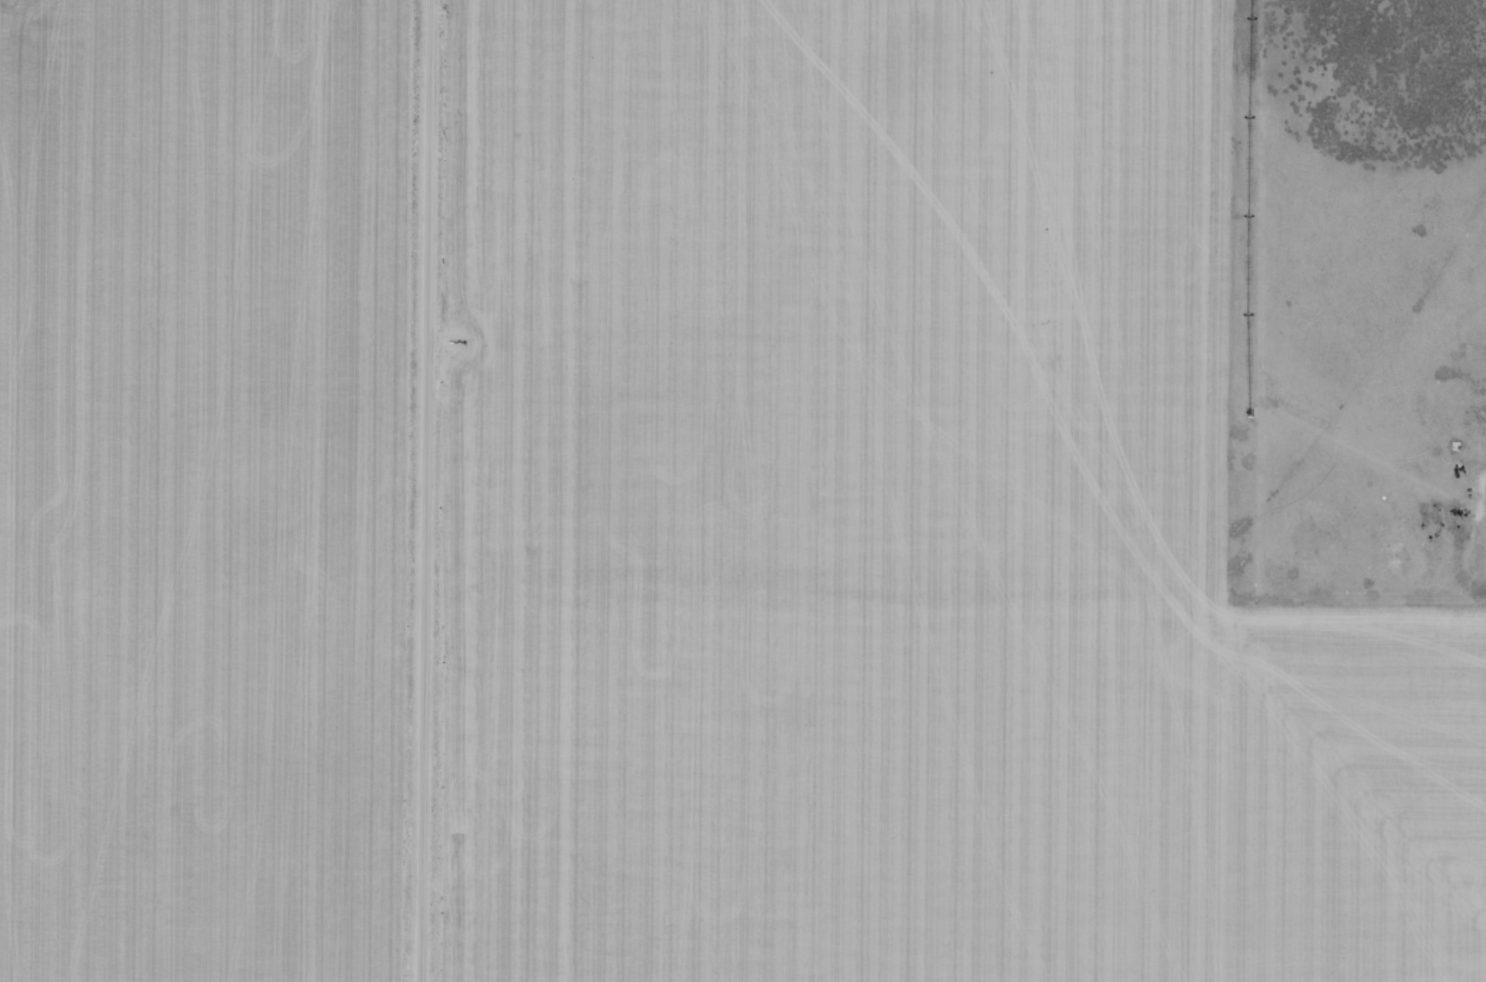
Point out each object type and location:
road: (429, 491)

